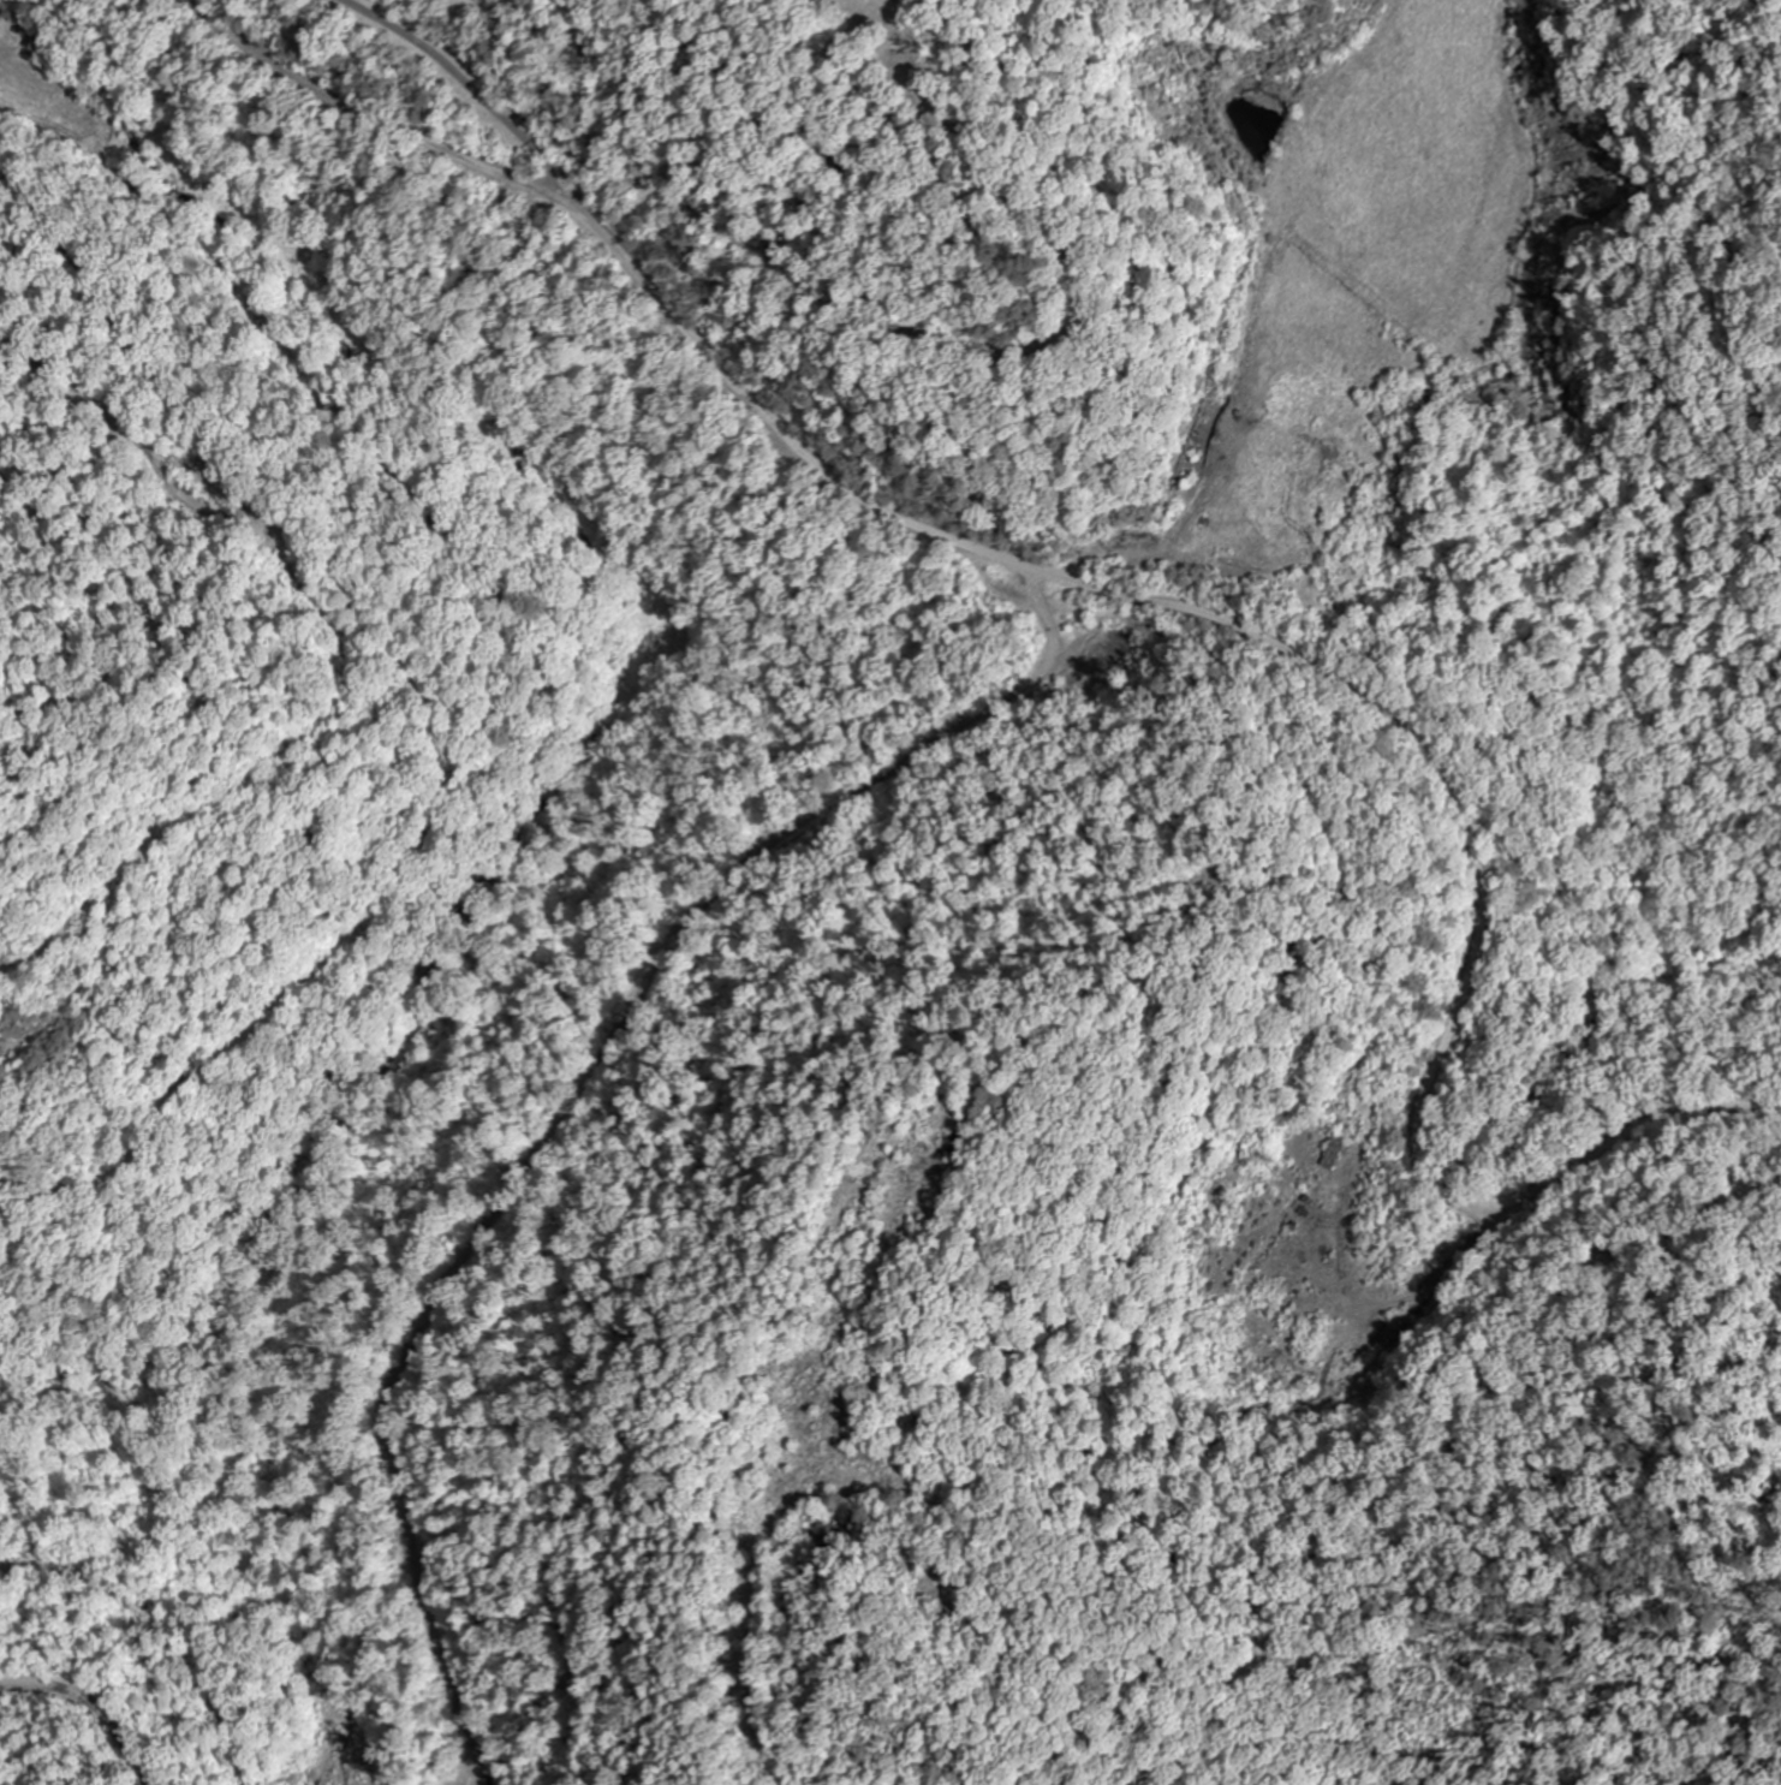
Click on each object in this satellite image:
building: (1246, 376)
road: (1146, 597)
building: (1332, 1153)

